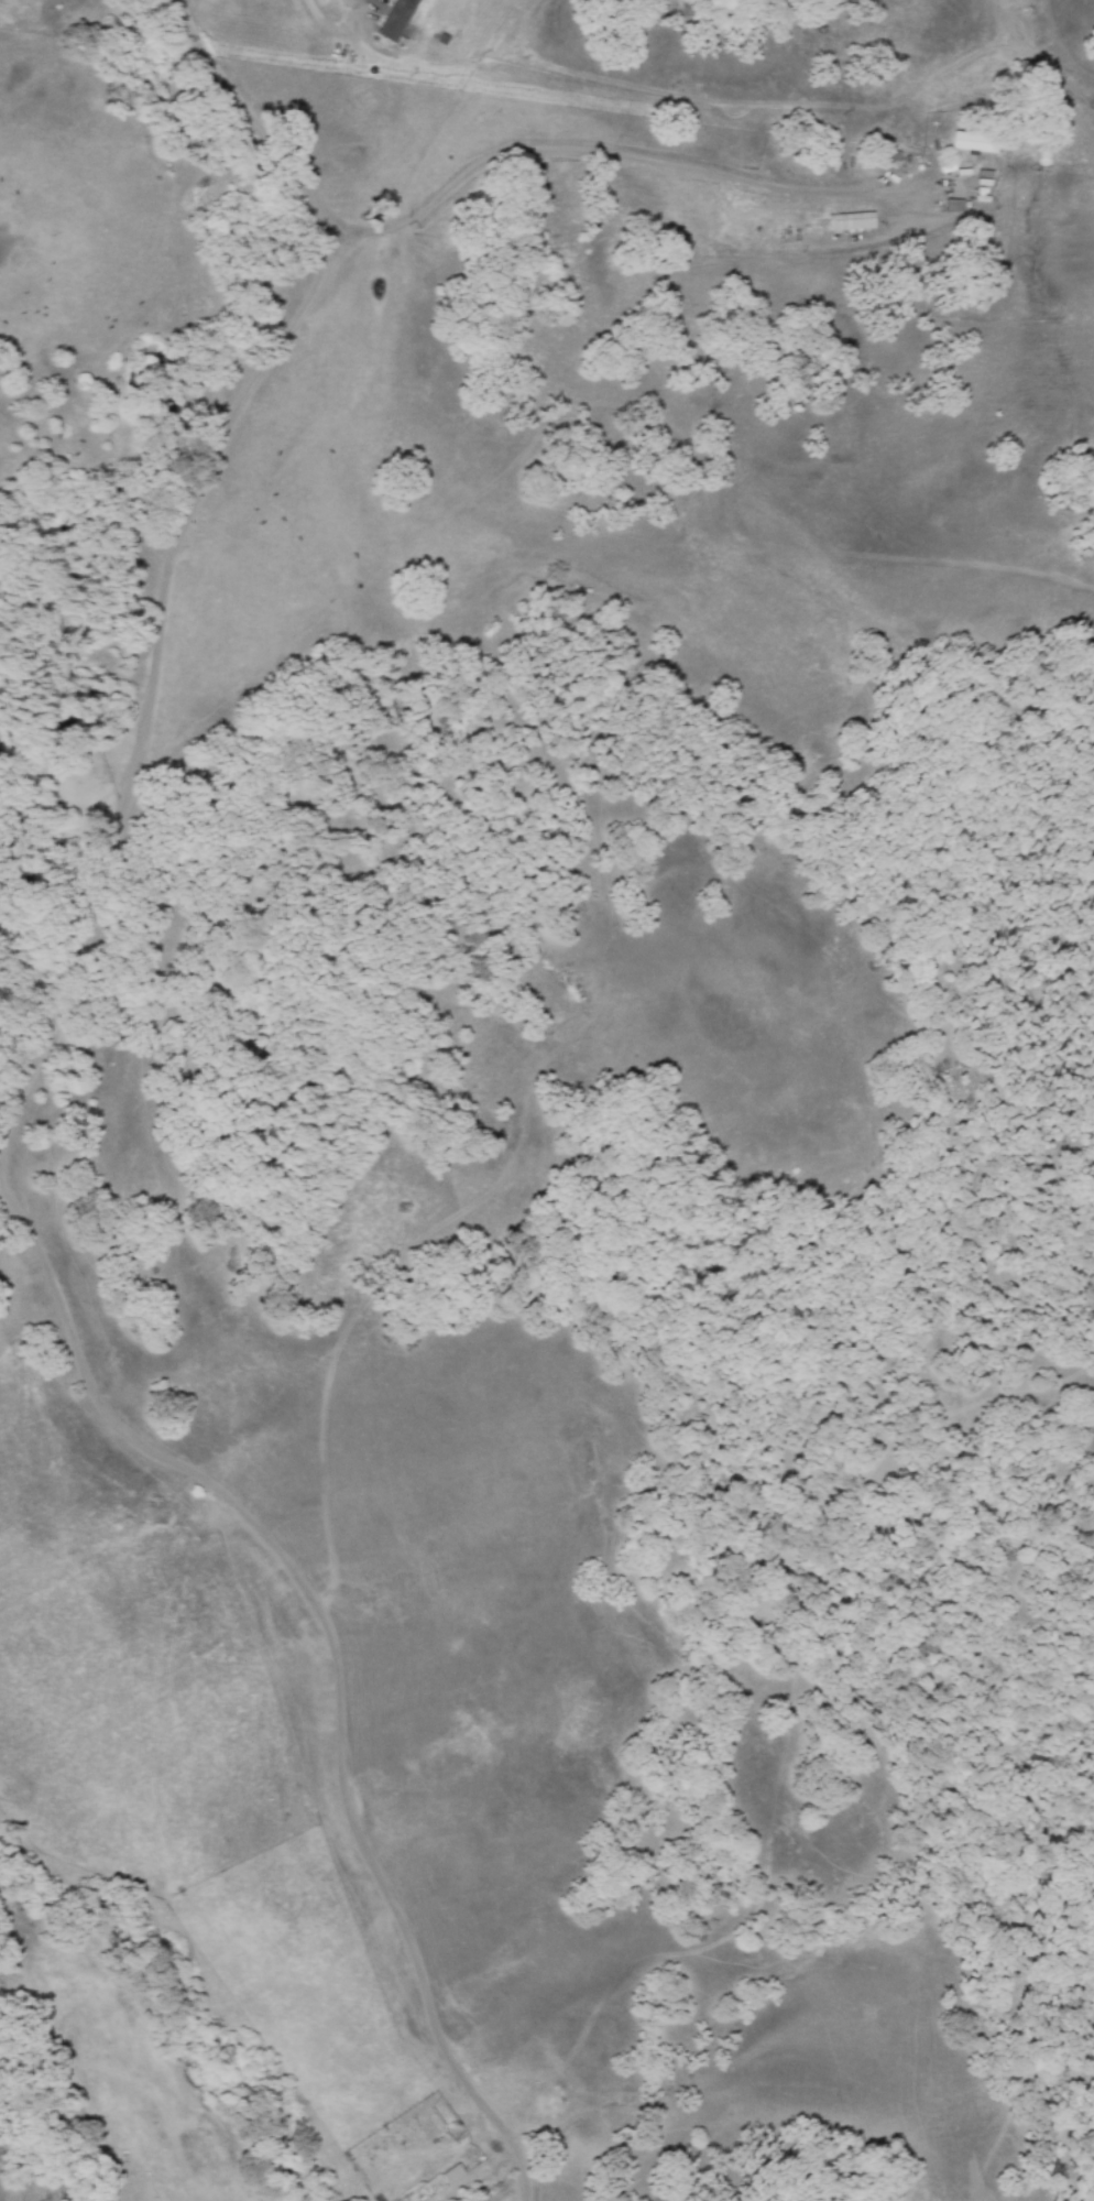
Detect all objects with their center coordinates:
road: (373, 2)
building: (392, 20)
road: (258, 126)
building: (971, 142)
building: (951, 206)
building: (846, 221)
road: (65, 1003)
building: (456, 2171)

